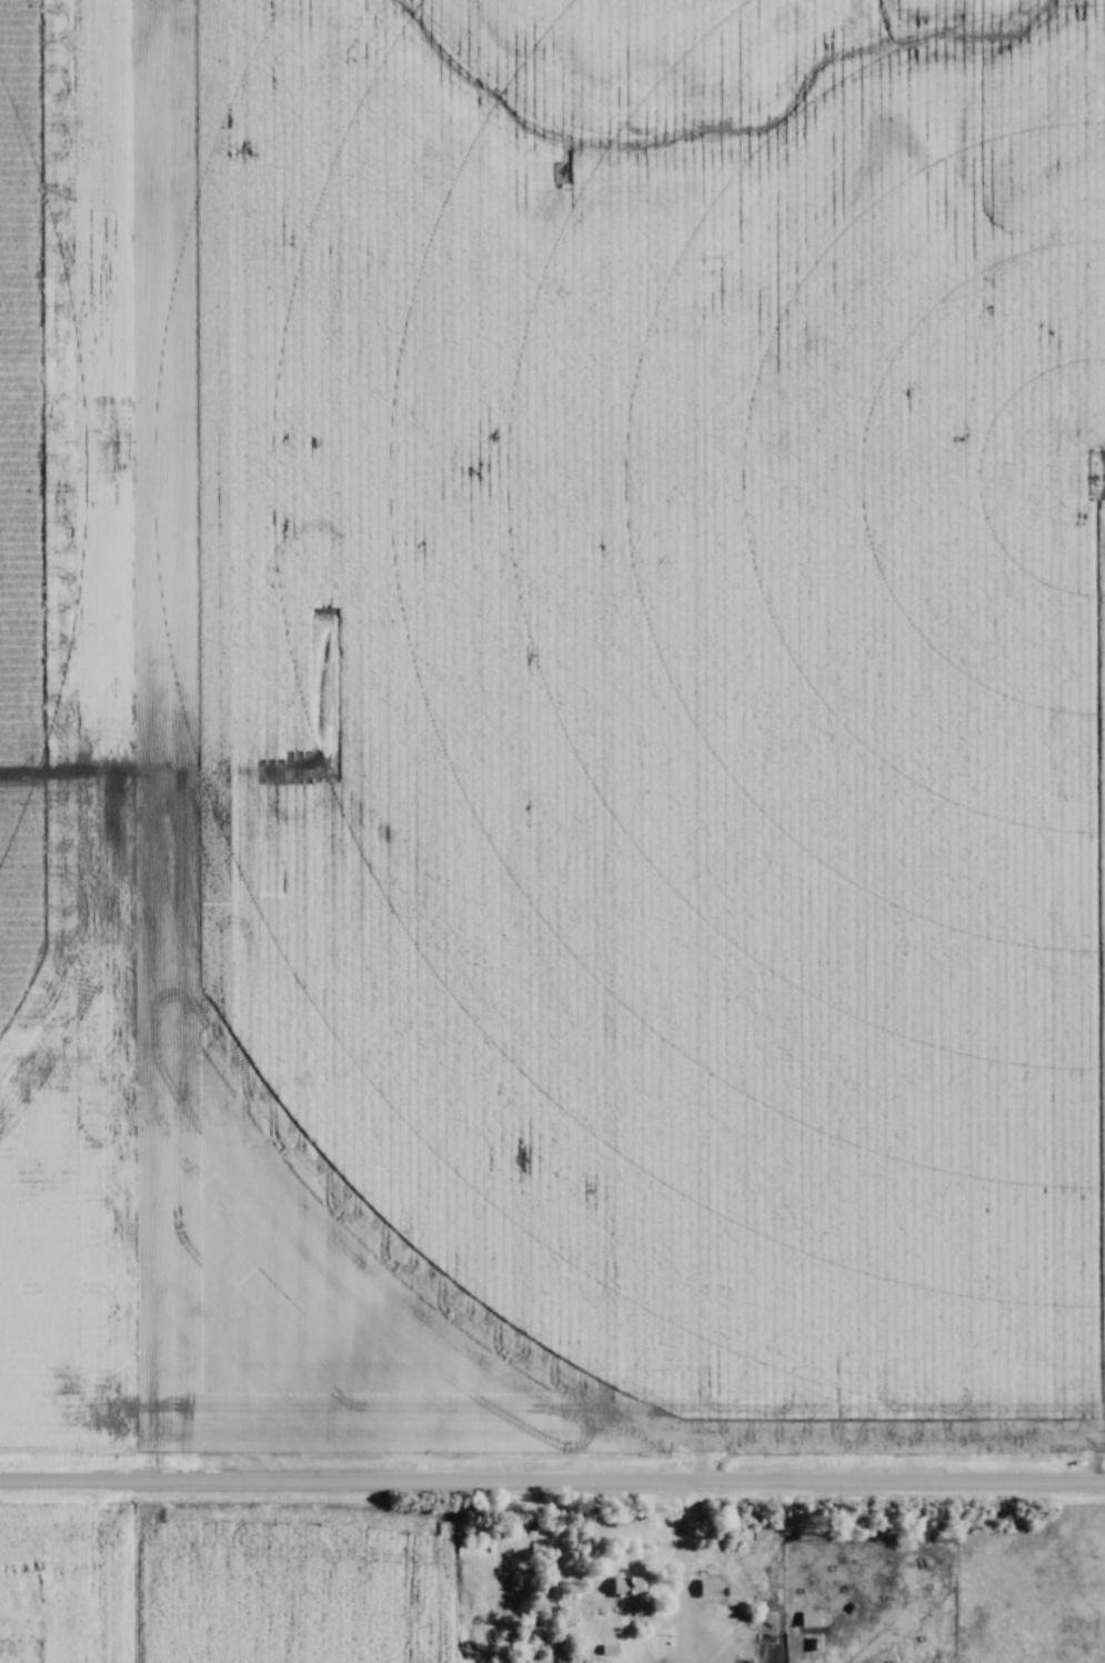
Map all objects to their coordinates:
crop: (67, 722)
road: (552, 1482)
road: (683, 1543)
building: (632, 1586)
building: (711, 1589)
building: (814, 1620)

